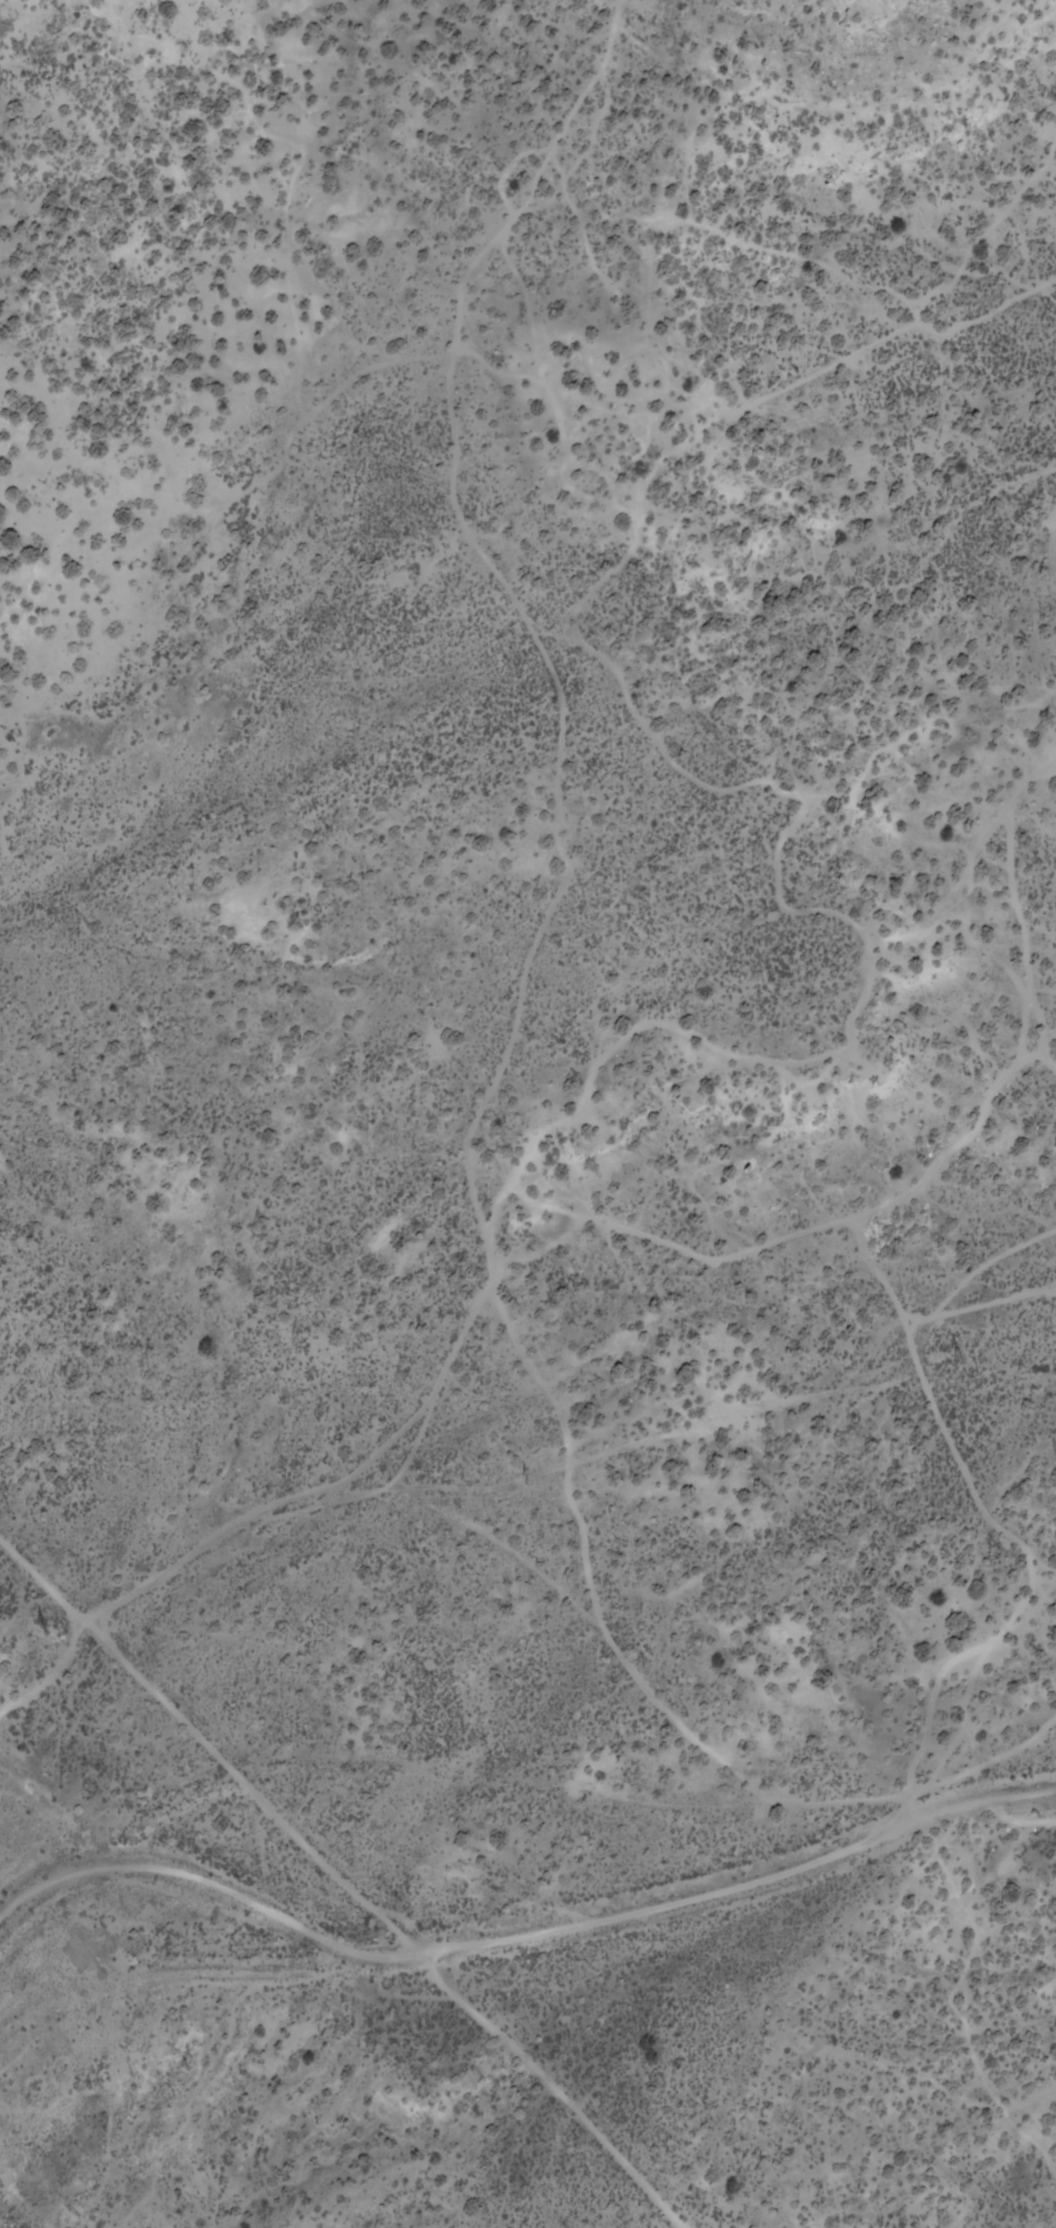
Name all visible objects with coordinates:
power tower: (934, 1361)
power tower: (530, 1478)
power tower: (38, 1622)
road: (521, 1922)

